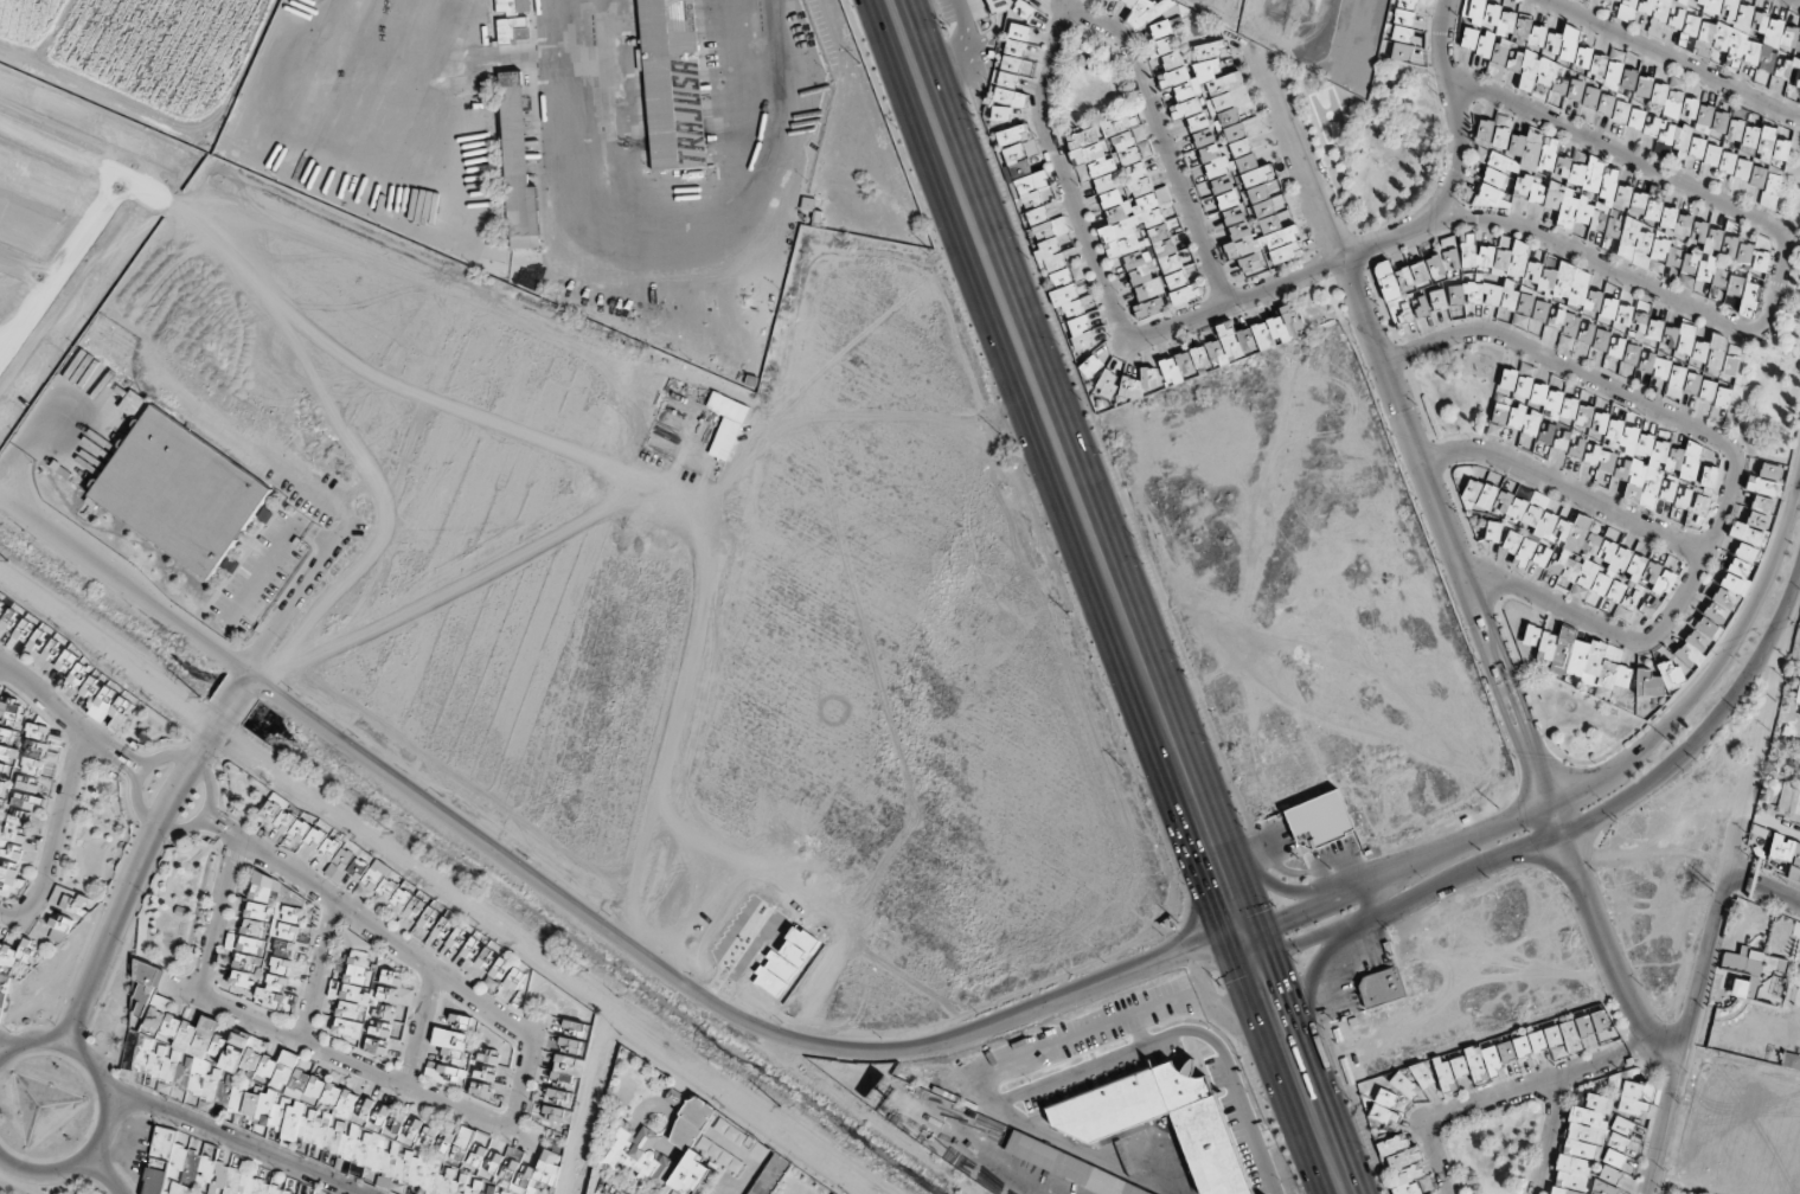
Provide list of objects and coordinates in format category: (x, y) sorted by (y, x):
park: (44, 1109)

